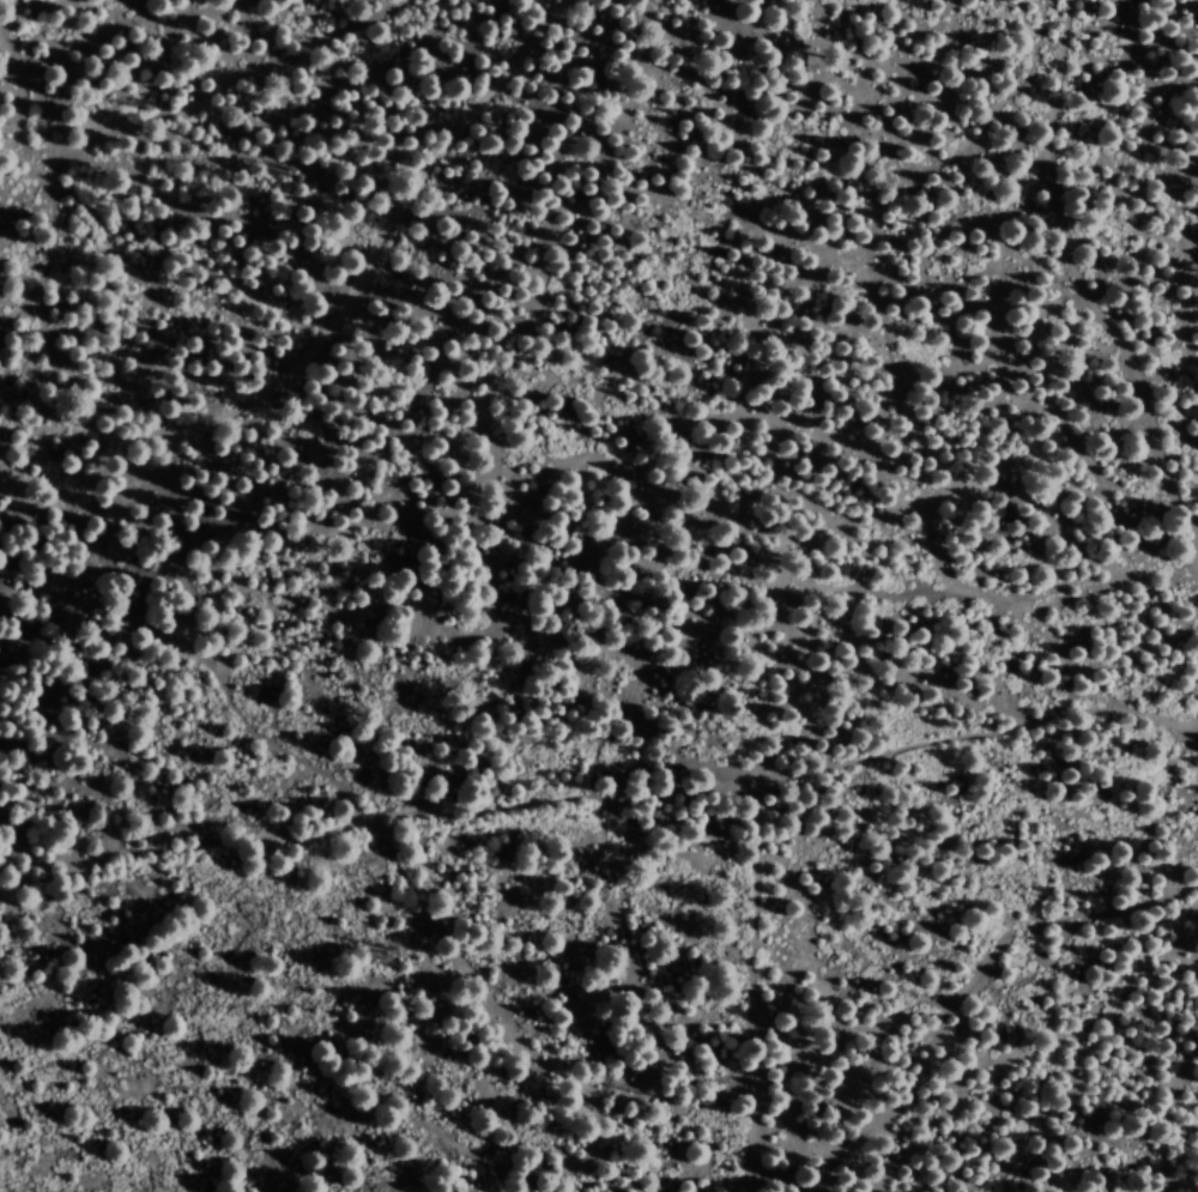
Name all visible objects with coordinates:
road: (98, 282)
road: (371, 314)

